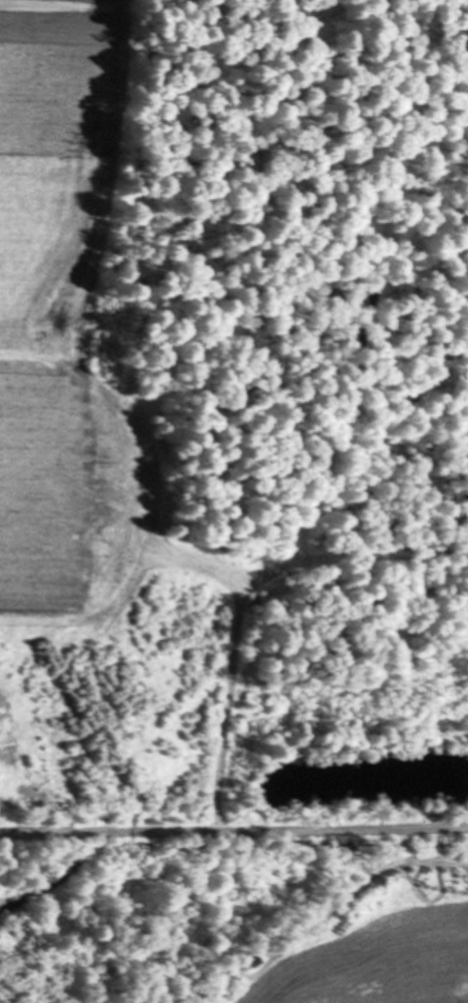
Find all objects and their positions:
road: (234, 828)

